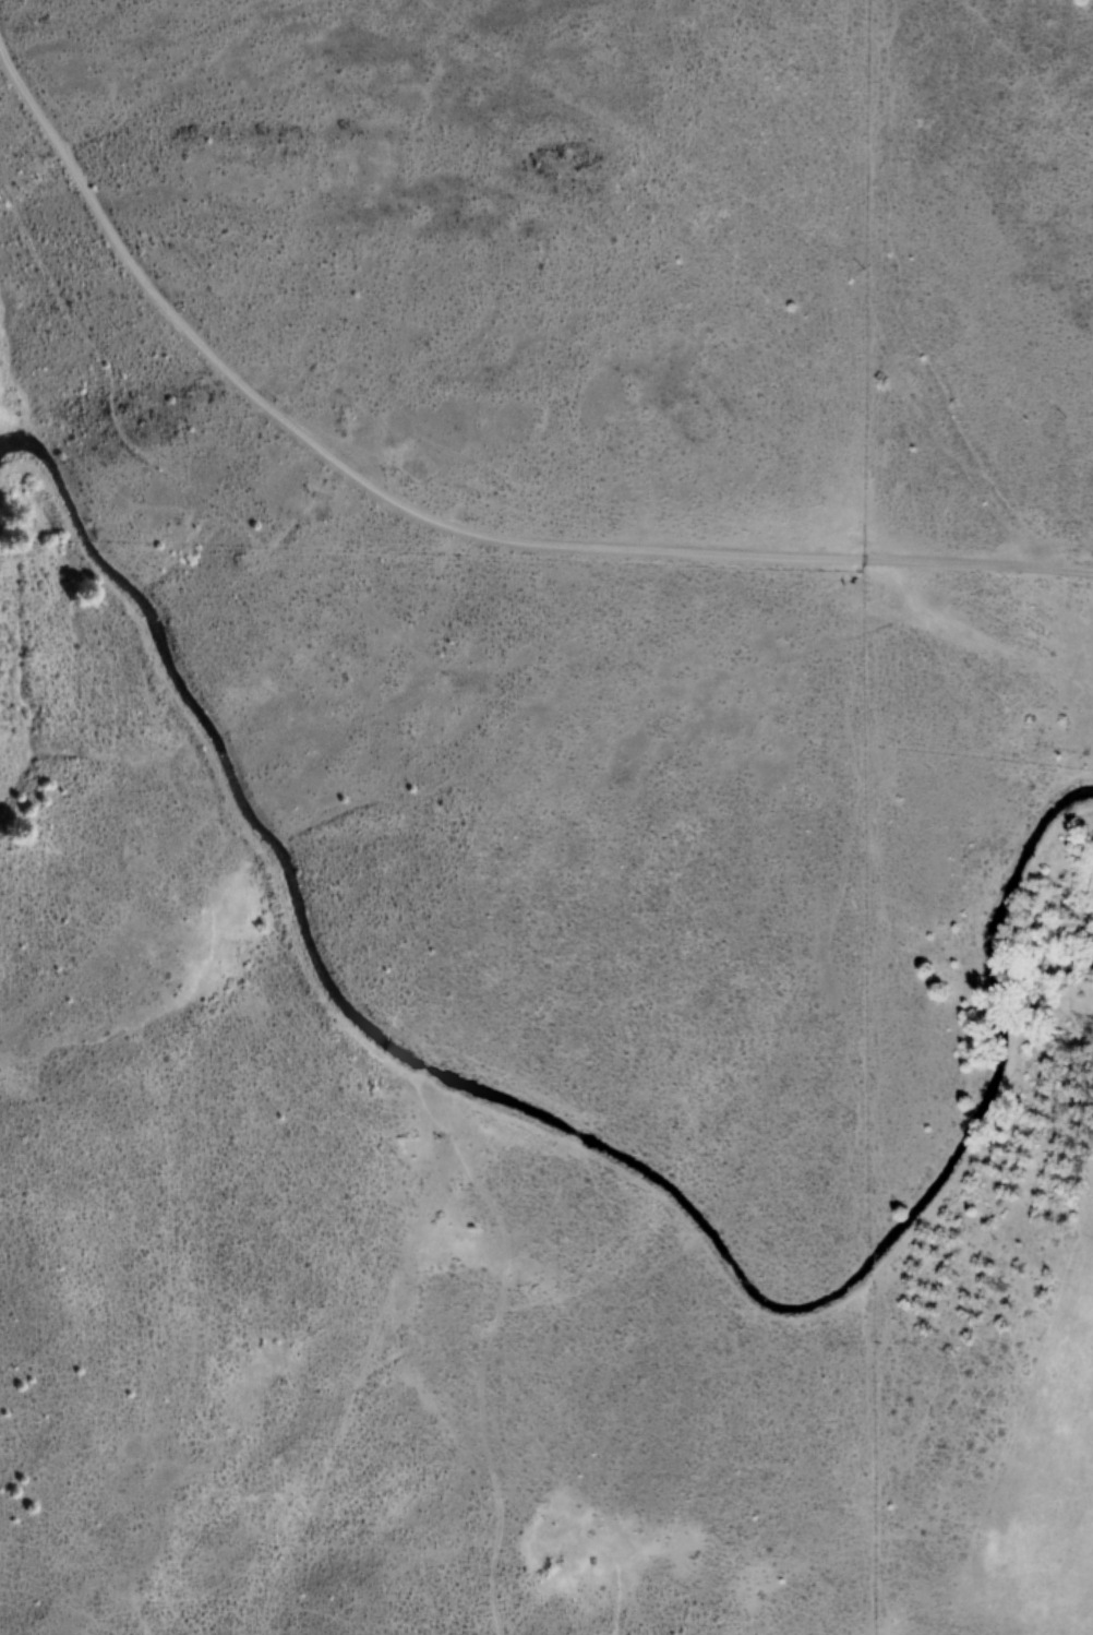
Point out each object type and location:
road: (446, 544)
road: (850, 1575)

